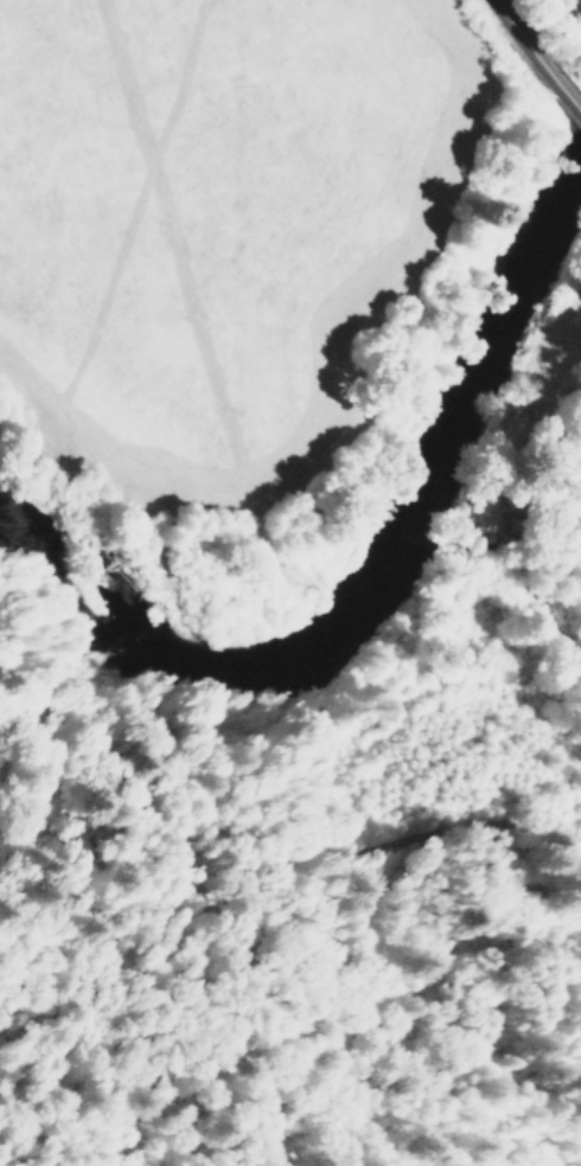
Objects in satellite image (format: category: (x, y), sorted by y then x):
road: (536, 58)
river: (373, 562)

